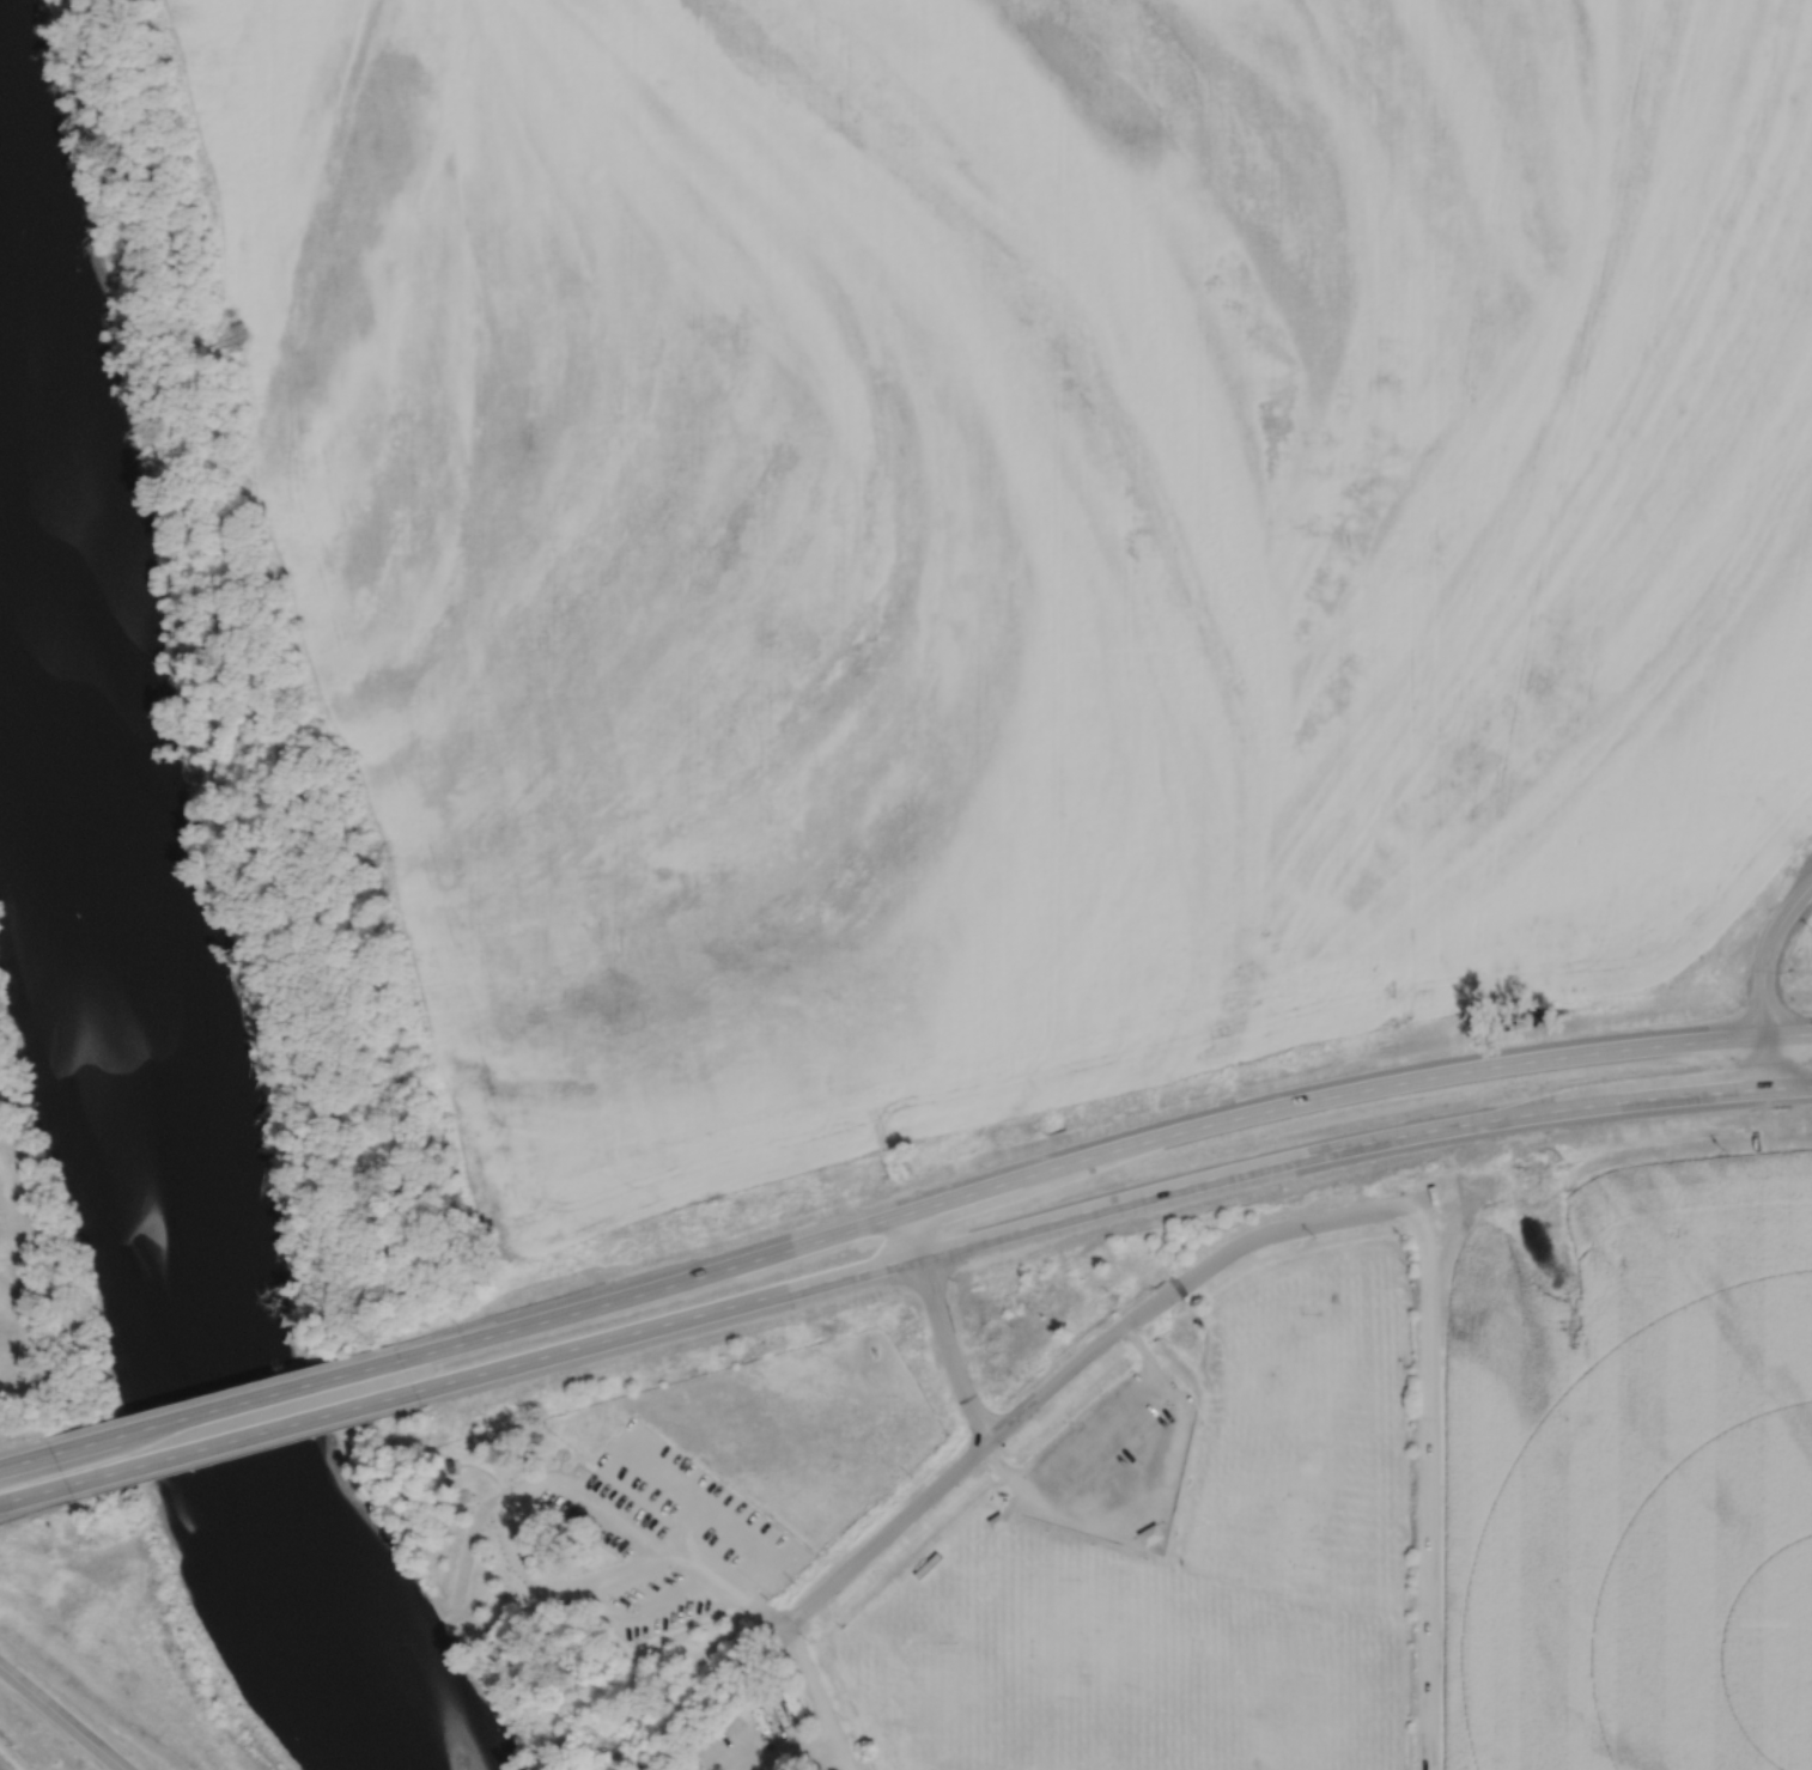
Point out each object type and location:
road: (1767, 951)
road: (1788, 1034)
road: (1767, 1062)
road: (1789, 1087)
river: (146, 1137)
road: (1072, 1160)
road: (1086, 1210)
building: (16, 1289)
road: (942, 1327)
road: (1077, 1363)
road: (225, 1407)
road: (1094, 1434)
road: (241, 1437)
parking lot: (1112, 1456)
road: (25, 1459)
building: (449, 1466)
road: (574, 1467)
road: (487, 1473)
road: (533, 1473)
road: (1427, 1488)
road: (682, 1491)
road: (32, 1494)
road: (1155, 1506)
building: (996, 1521)
park: (642, 1526)
parking lot: (674, 1533)
road: (743, 1535)
building: (1150, 1535)
road: (468, 1551)
road: (1160, 1552)
building: (924, 1565)
road: (542, 1585)
road: (667, 1596)
park: (951, 1692)
road: (815, 1693)
road: (62, 1717)
road: (96, 1719)
park: (1123, 1727)
park: (1308, 1728)
parking lot: (761, 1734)

